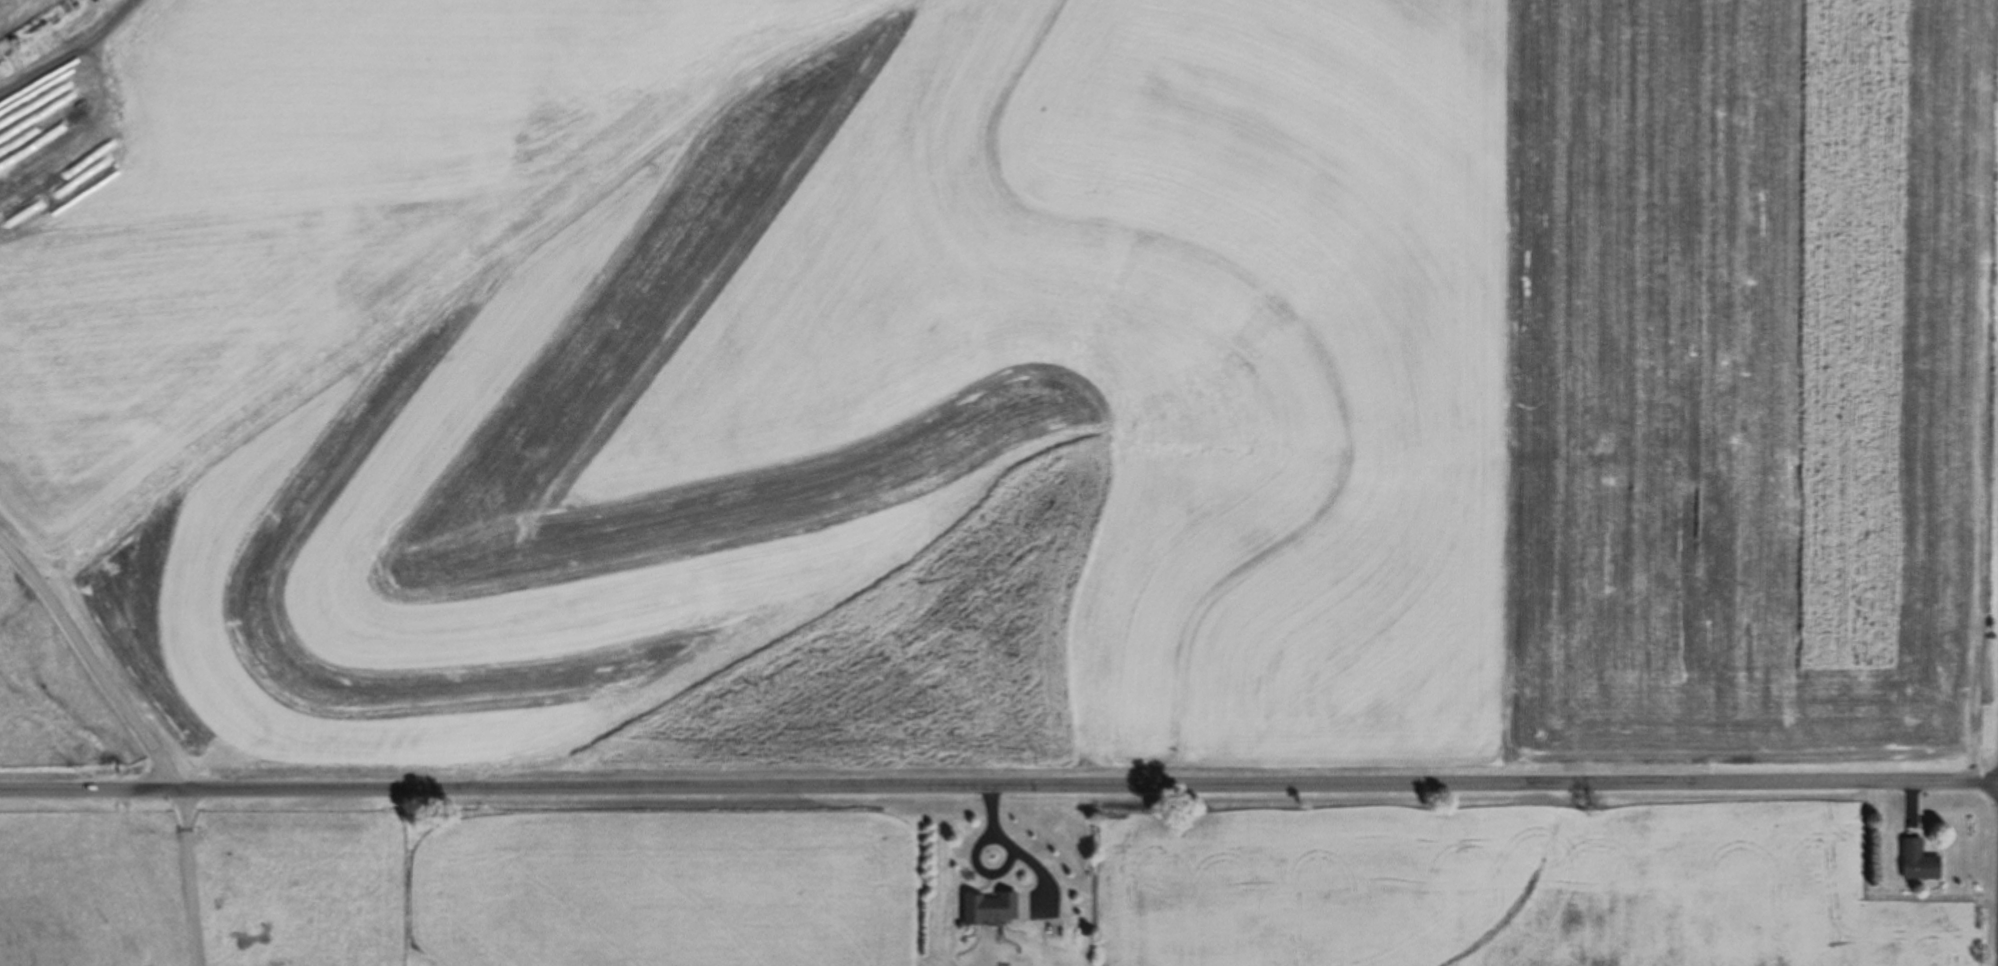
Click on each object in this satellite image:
road: (151, 741)
road: (998, 779)
road: (1006, 849)
building: (1909, 863)
road: (977, 873)
building: (983, 908)

